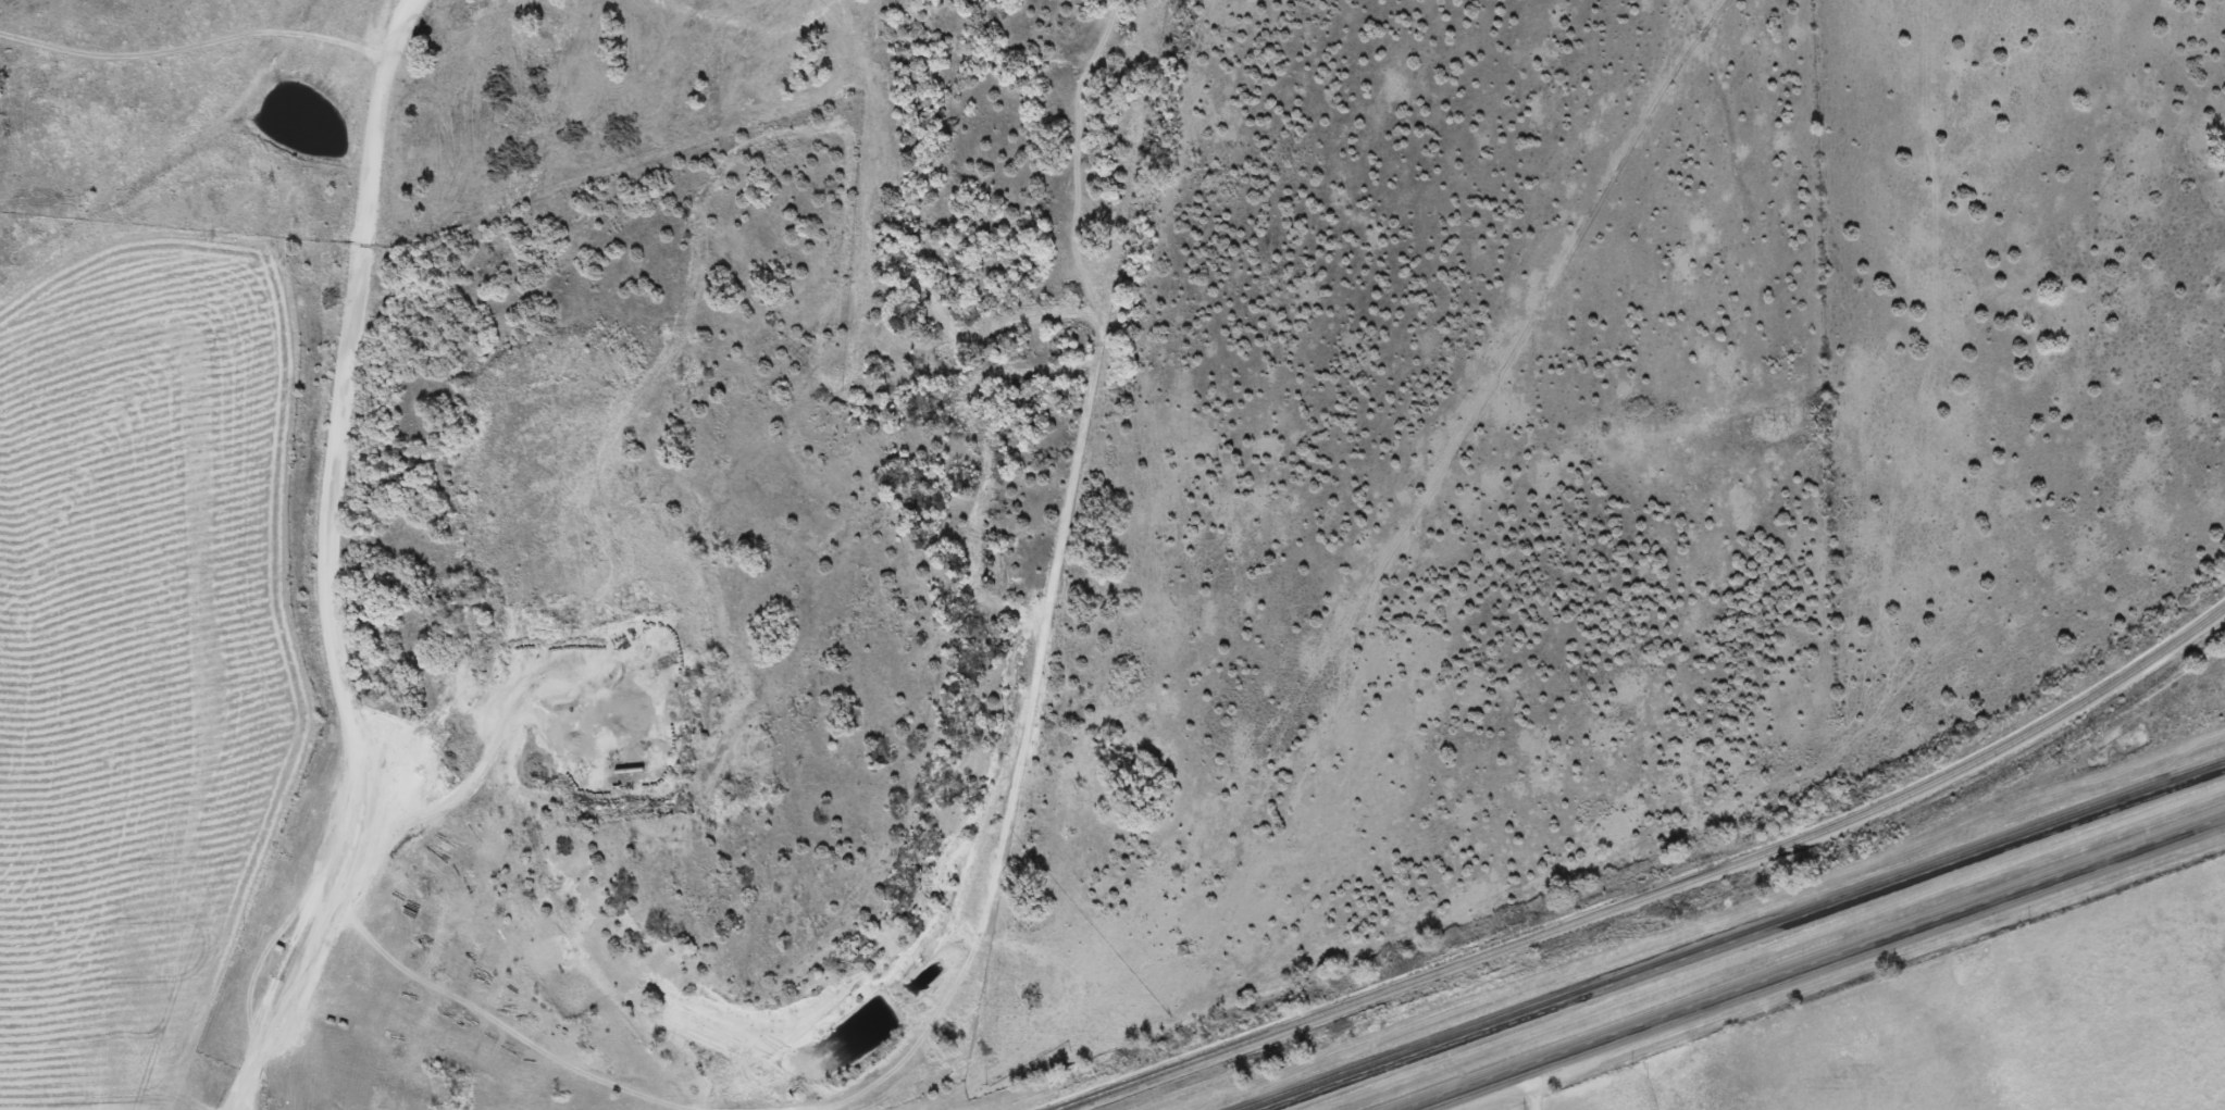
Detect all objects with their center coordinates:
railway: (1656, 891)
road: (1743, 939)
road: (1814, 964)
road: (1532, 1087)

